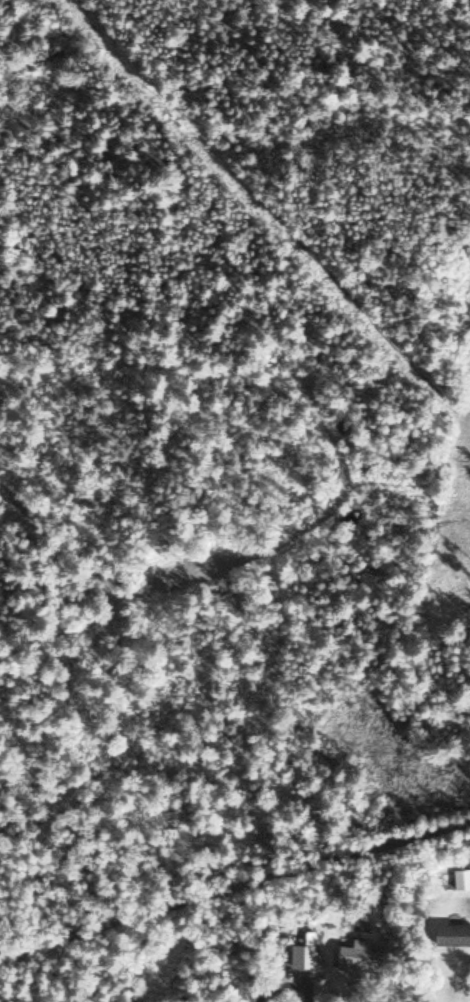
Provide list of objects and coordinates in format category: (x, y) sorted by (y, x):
building: (462, 877)
road: (235, 890)
building: (452, 933)
building: (304, 954)
building: (356, 955)

